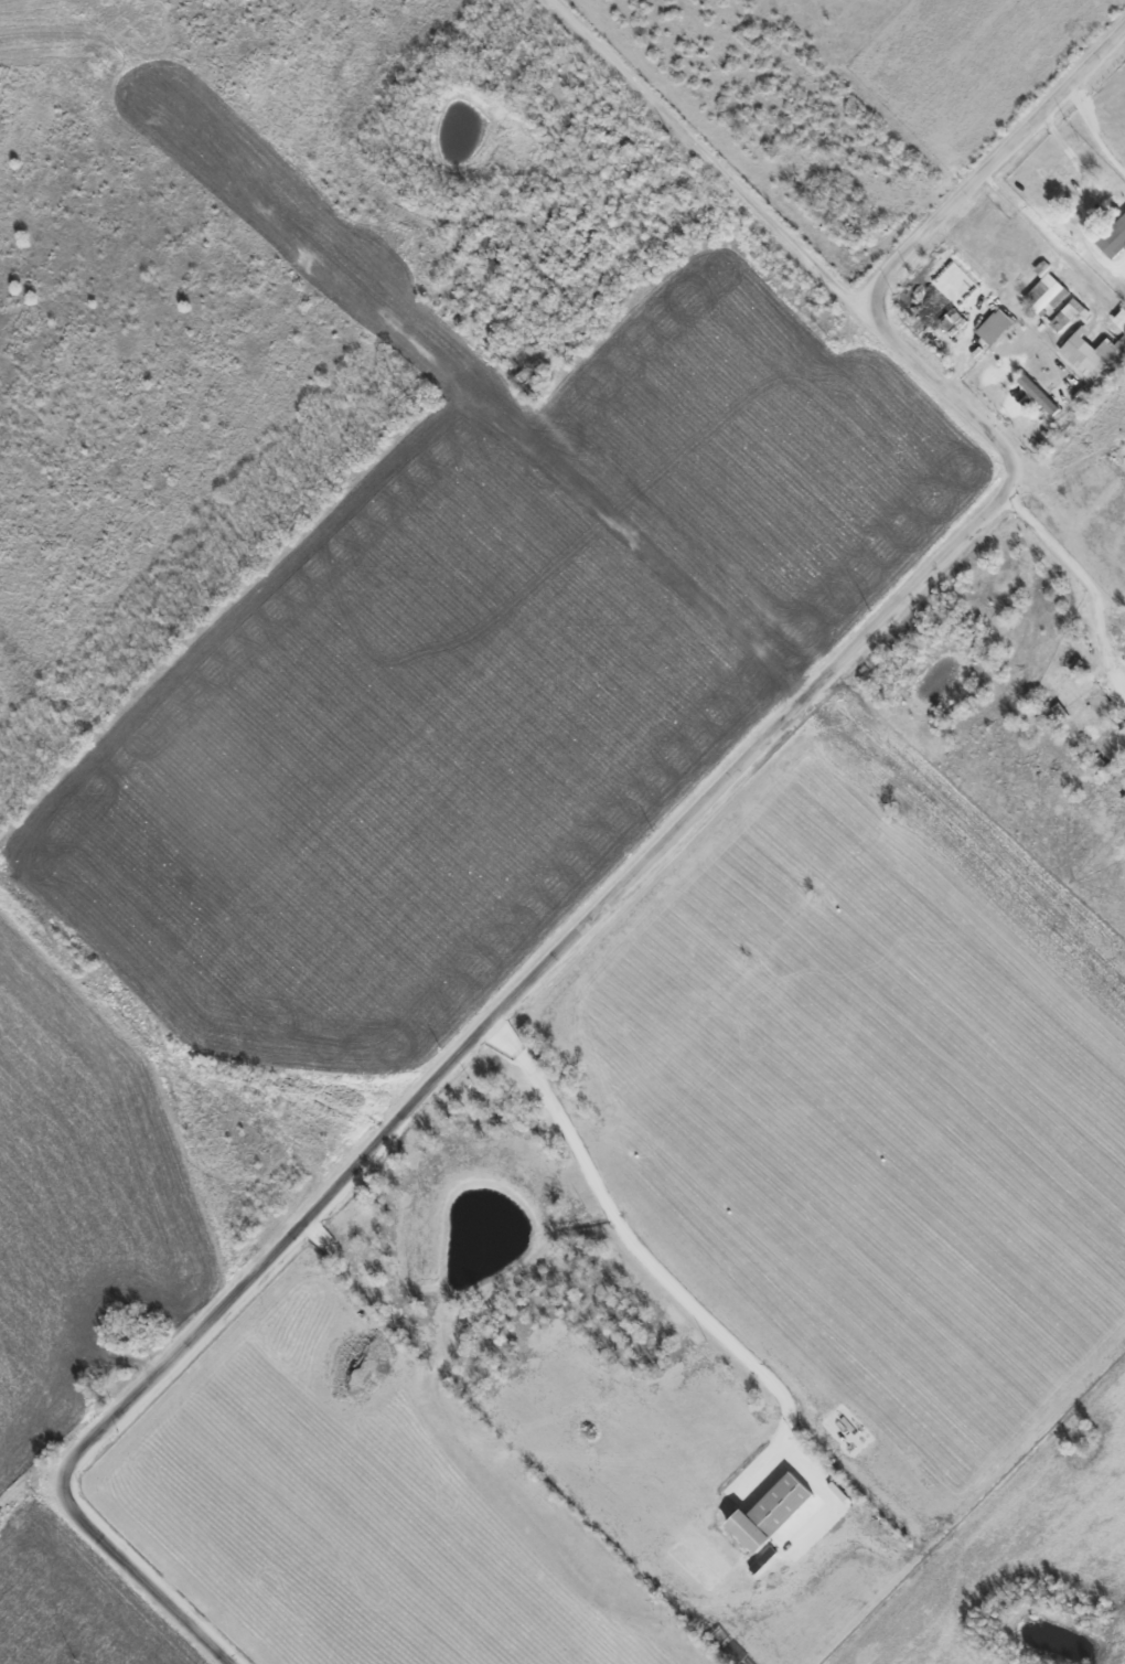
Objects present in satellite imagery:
road: (1093, 131)
road: (711, 159)
road: (1083, 174)
road: (1041, 234)
building: (1111, 241)
building: (1087, 354)
building: (1036, 394)
road: (1082, 575)
road: (658, 850)
road: (645, 1257)

